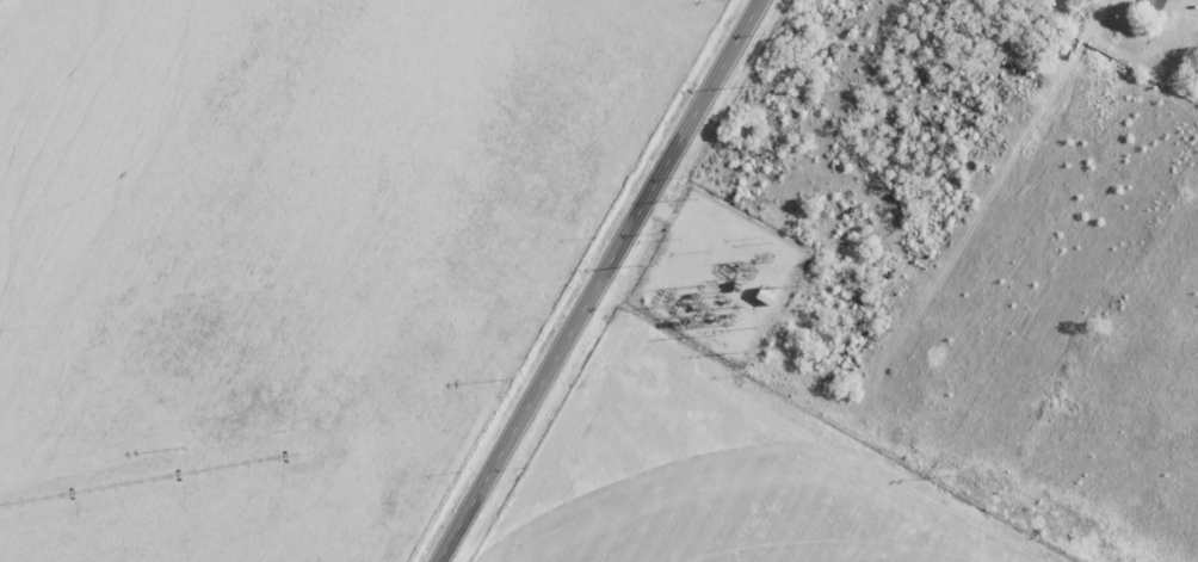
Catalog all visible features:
building: (1161, 6)
power tower: (746, 88)
road: (661, 210)
power tower: (646, 267)
power substation: (718, 279)
road: (598, 280)
building: (762, 297)
power tower: (697, 298)
power tower: (730, 317)
power tower: (717, 323)
power tower: (753, 329)
power tower: (708, 339)
power tower: (739, 356)
power tower: (504, 381)
power tower: (184, 449)
power tower: (951, 478)

